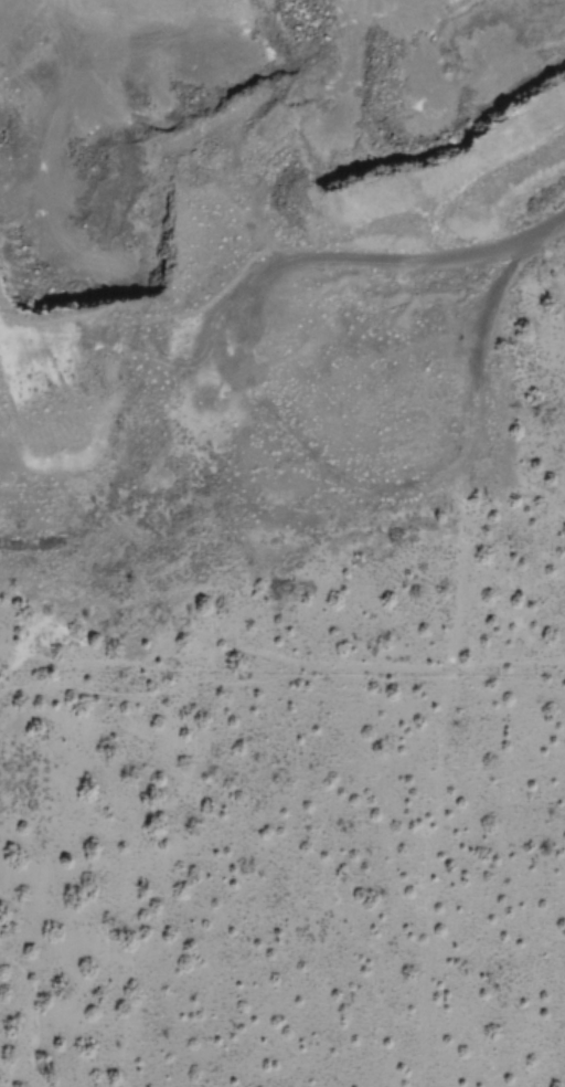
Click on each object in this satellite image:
road: (542, 233)
quarry: (253, 270)

